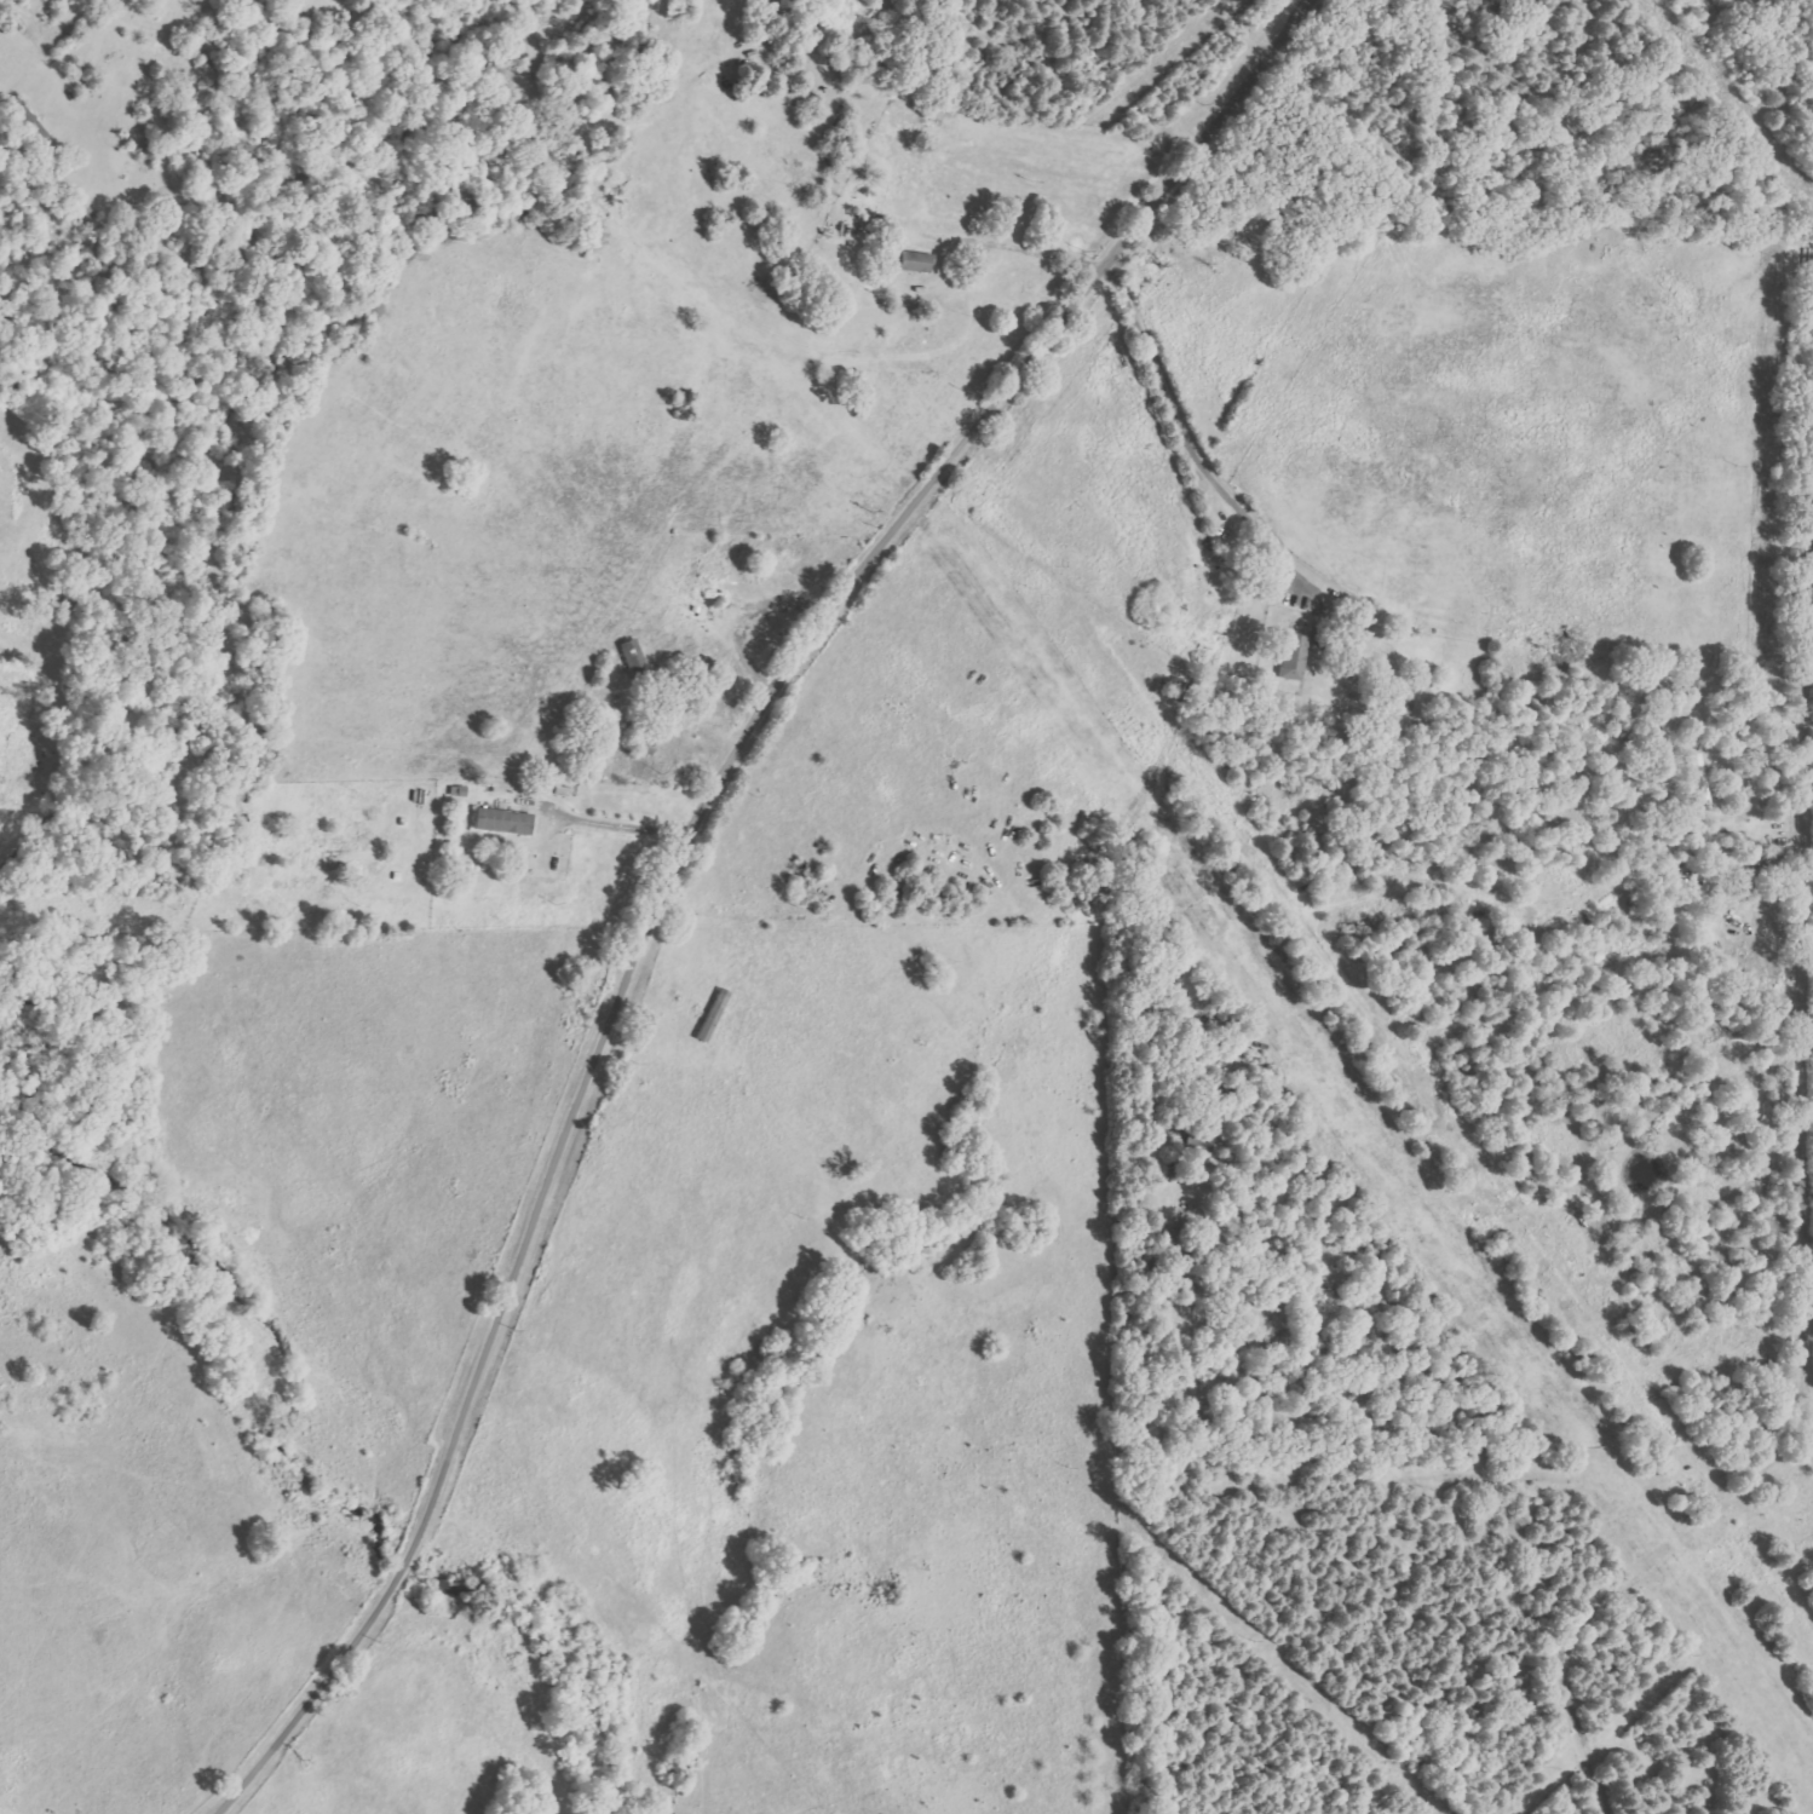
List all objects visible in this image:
building: (57, 1)
building: (916, 263)
road: (1175, 416)
building: (1293, 655)
building: (506, 823)
road: (677, 863)
road: (1802, 975)
building: (714, 1015)
road: (1590, 1562)

